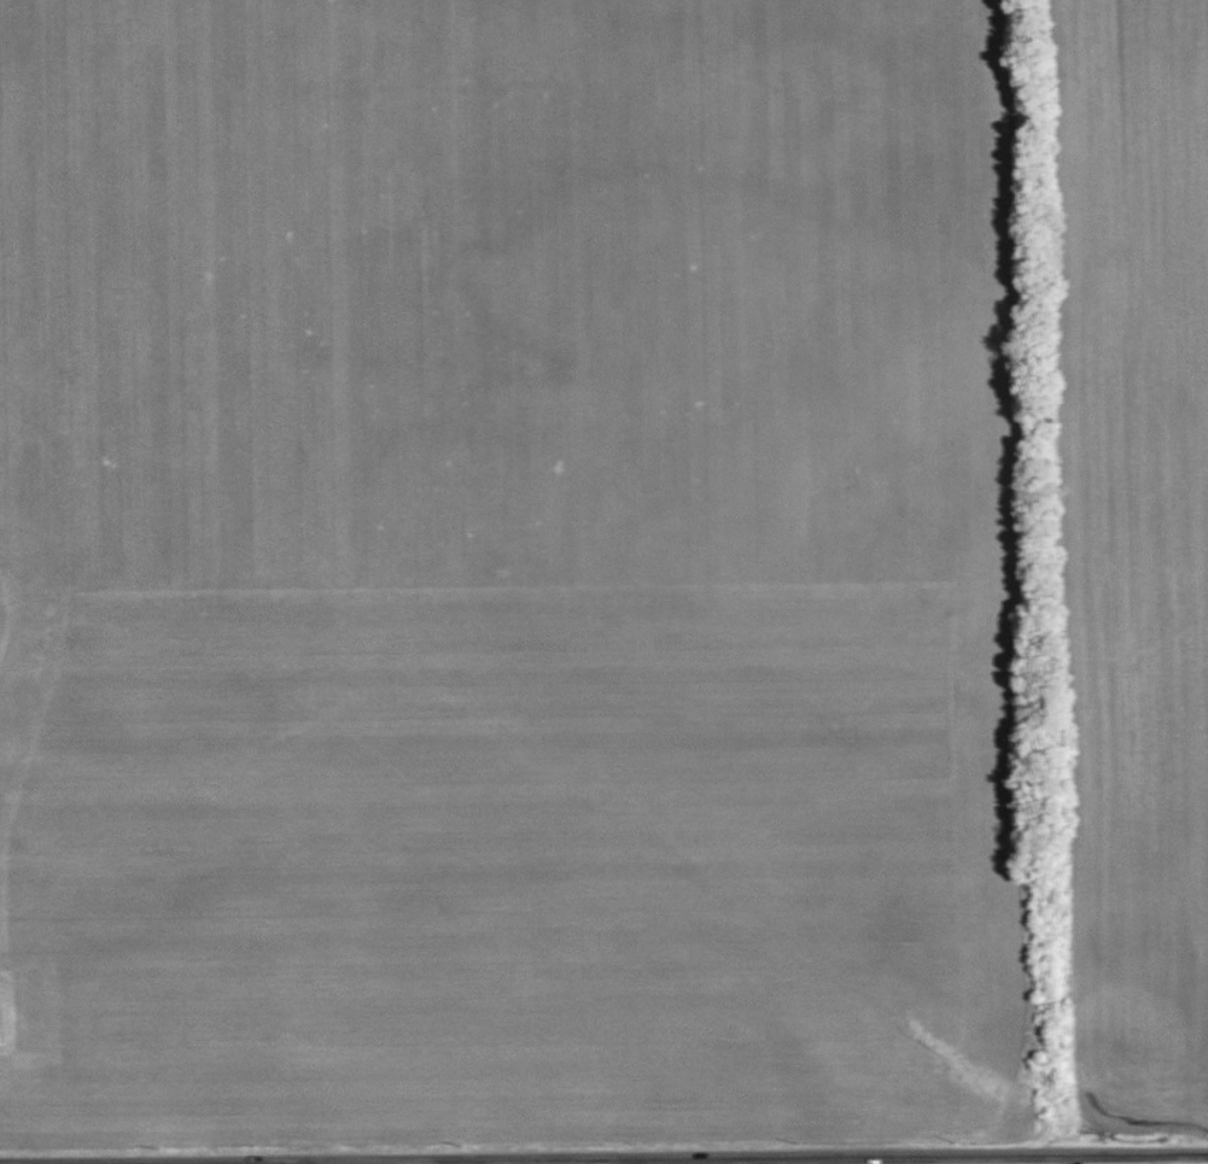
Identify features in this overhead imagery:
road: (642, 1158)

